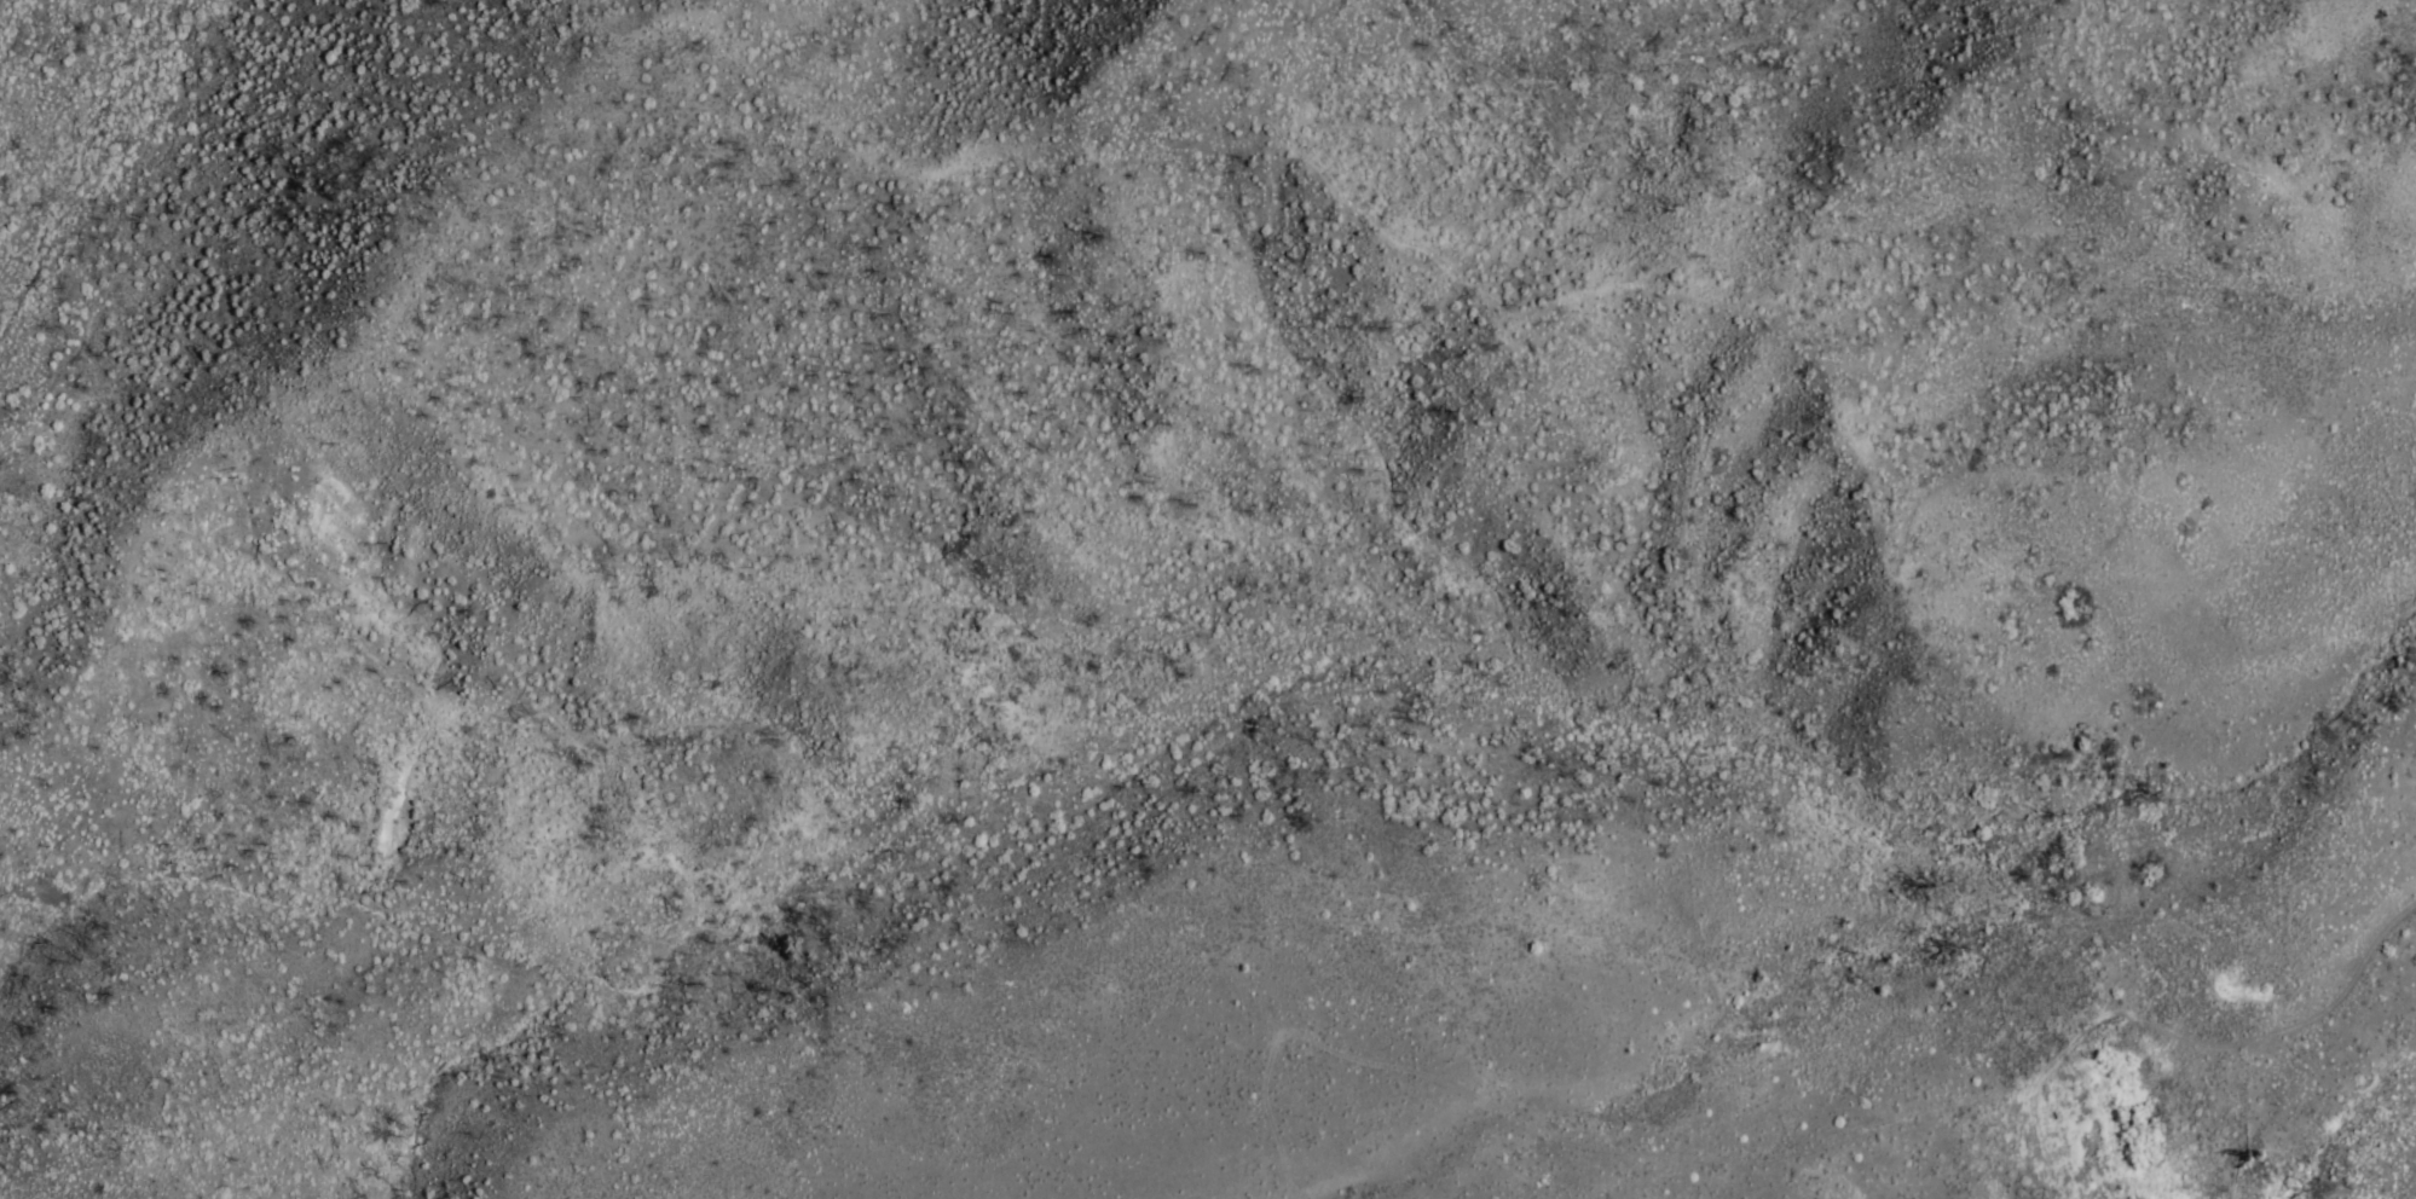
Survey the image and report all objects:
road: (2187, 1037)

